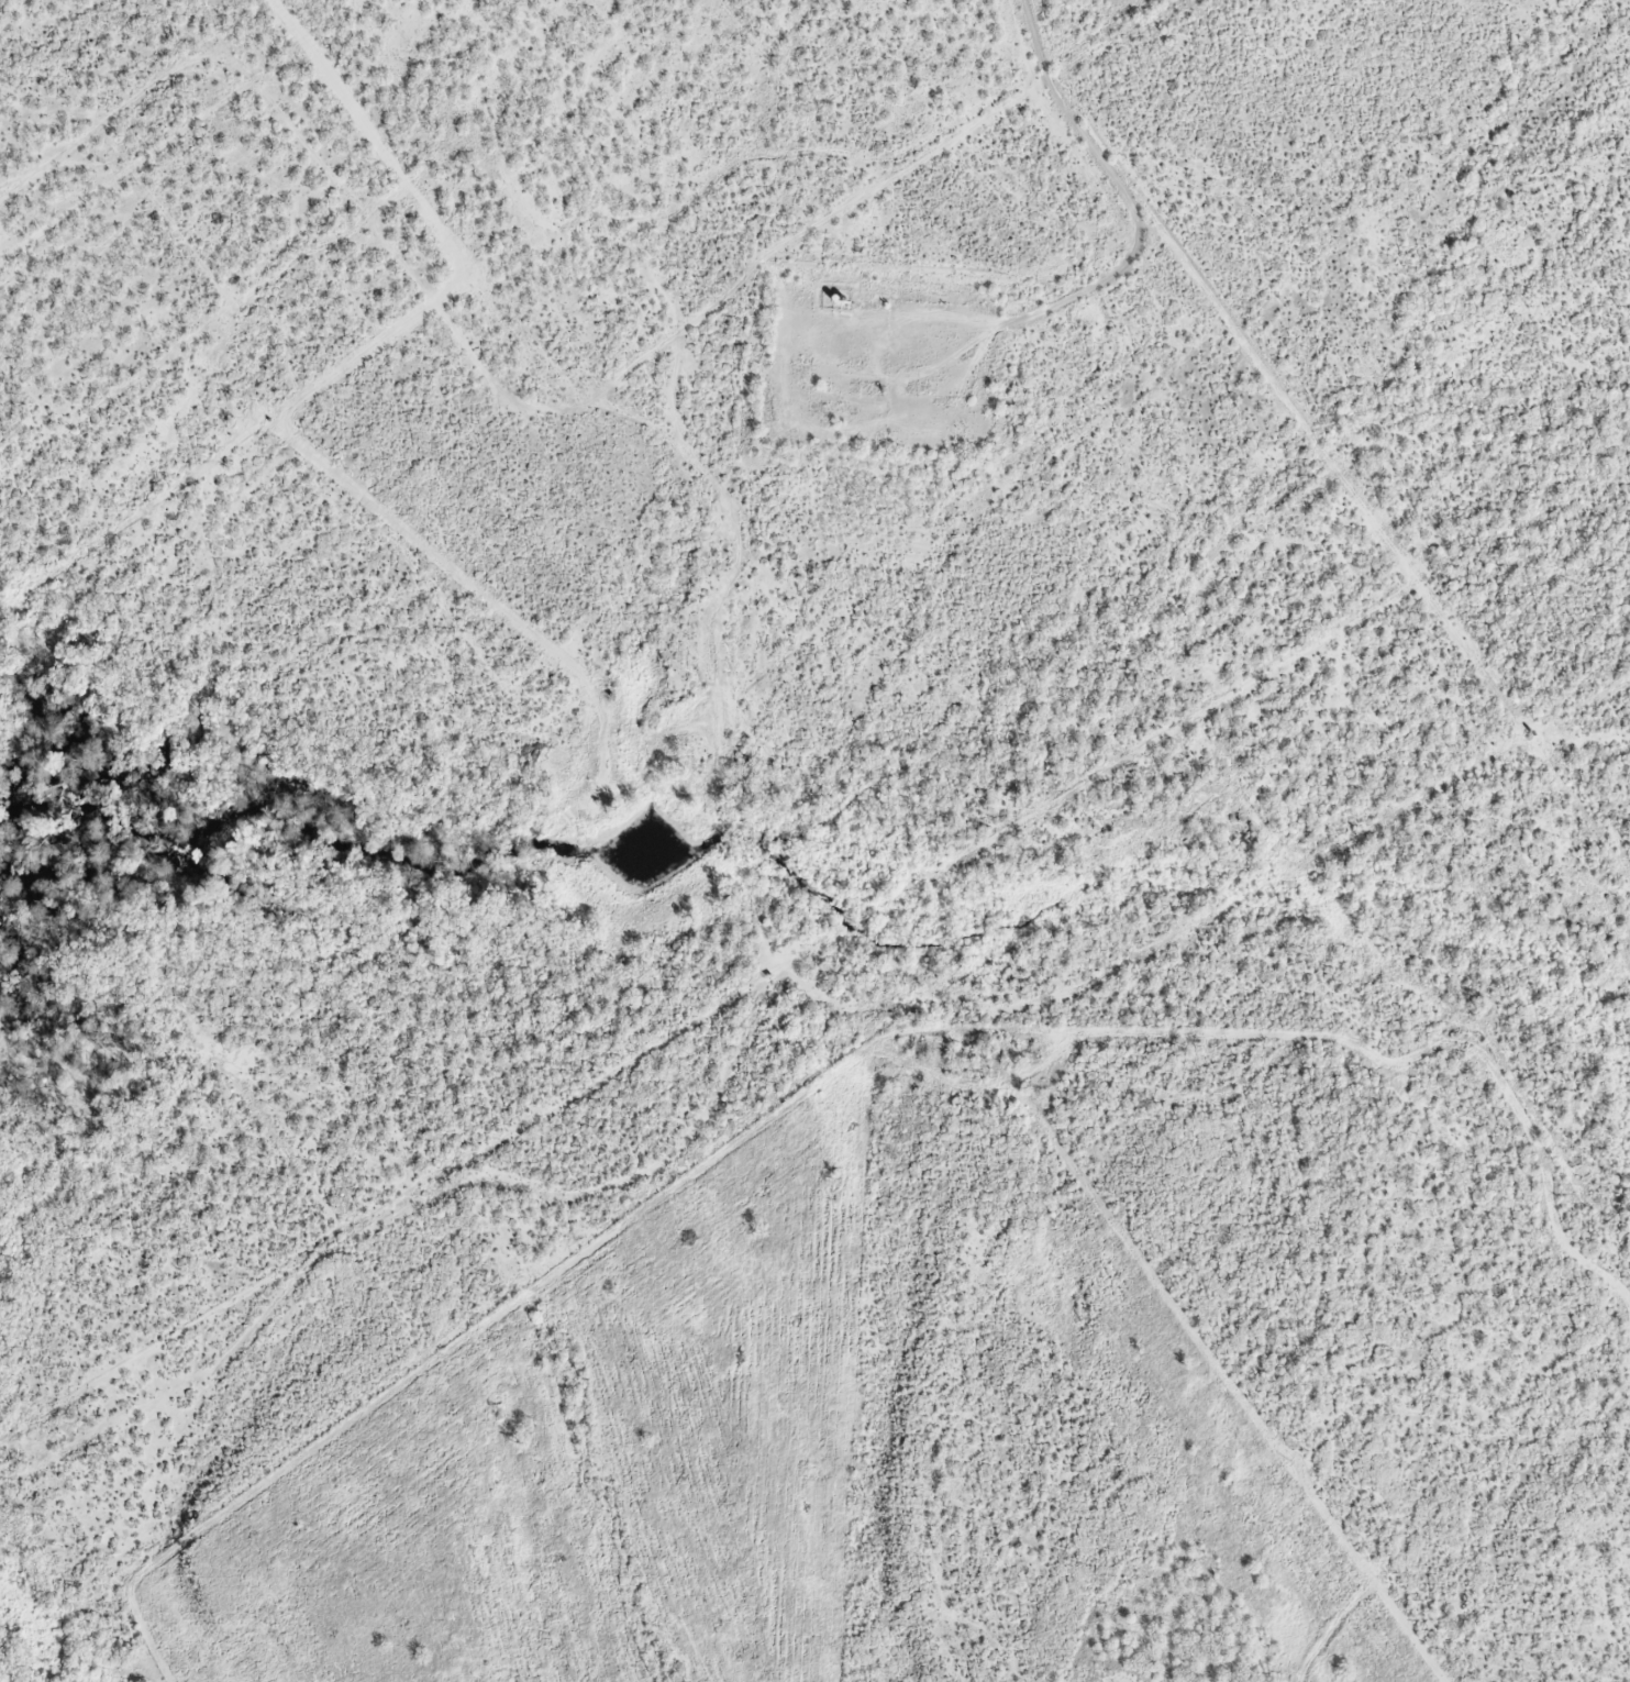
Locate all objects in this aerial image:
road: (707, 870)

